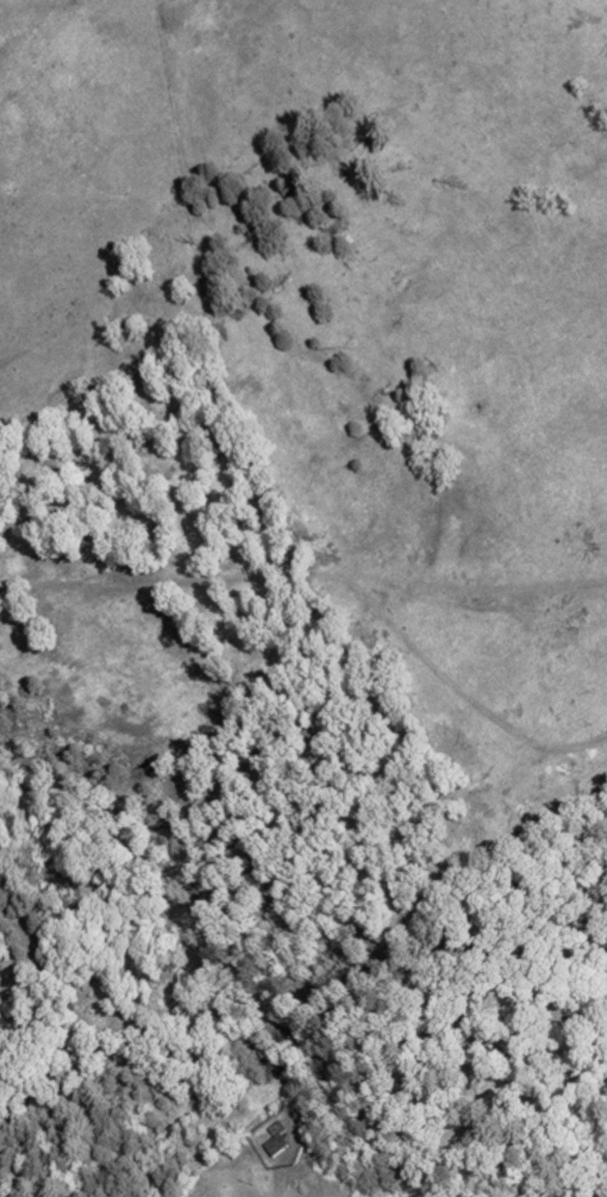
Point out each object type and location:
building: (275, 1140)
road: (279, 1192)

